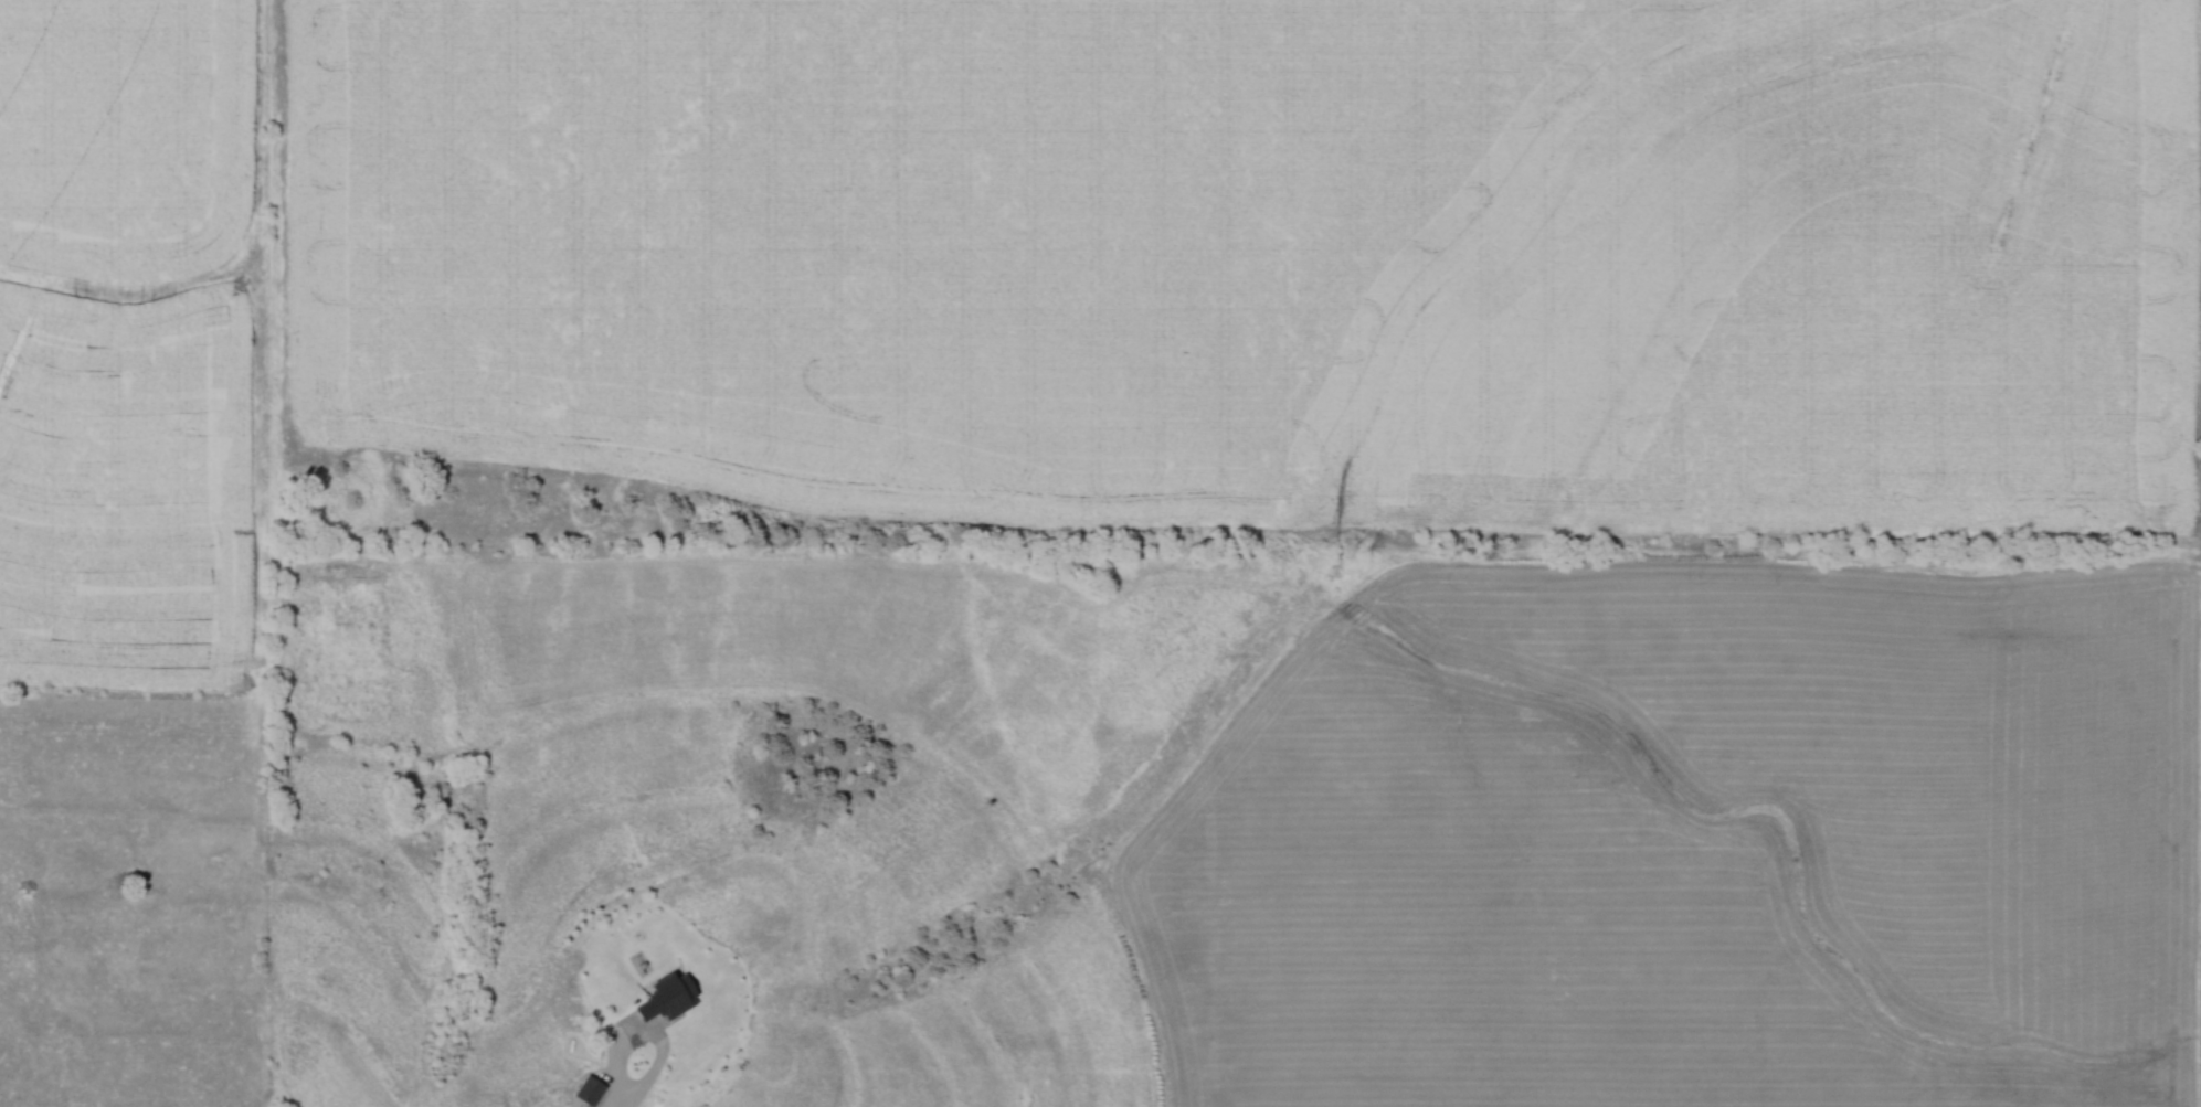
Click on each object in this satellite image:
building: (674, 996)
building: (594, 1088)

